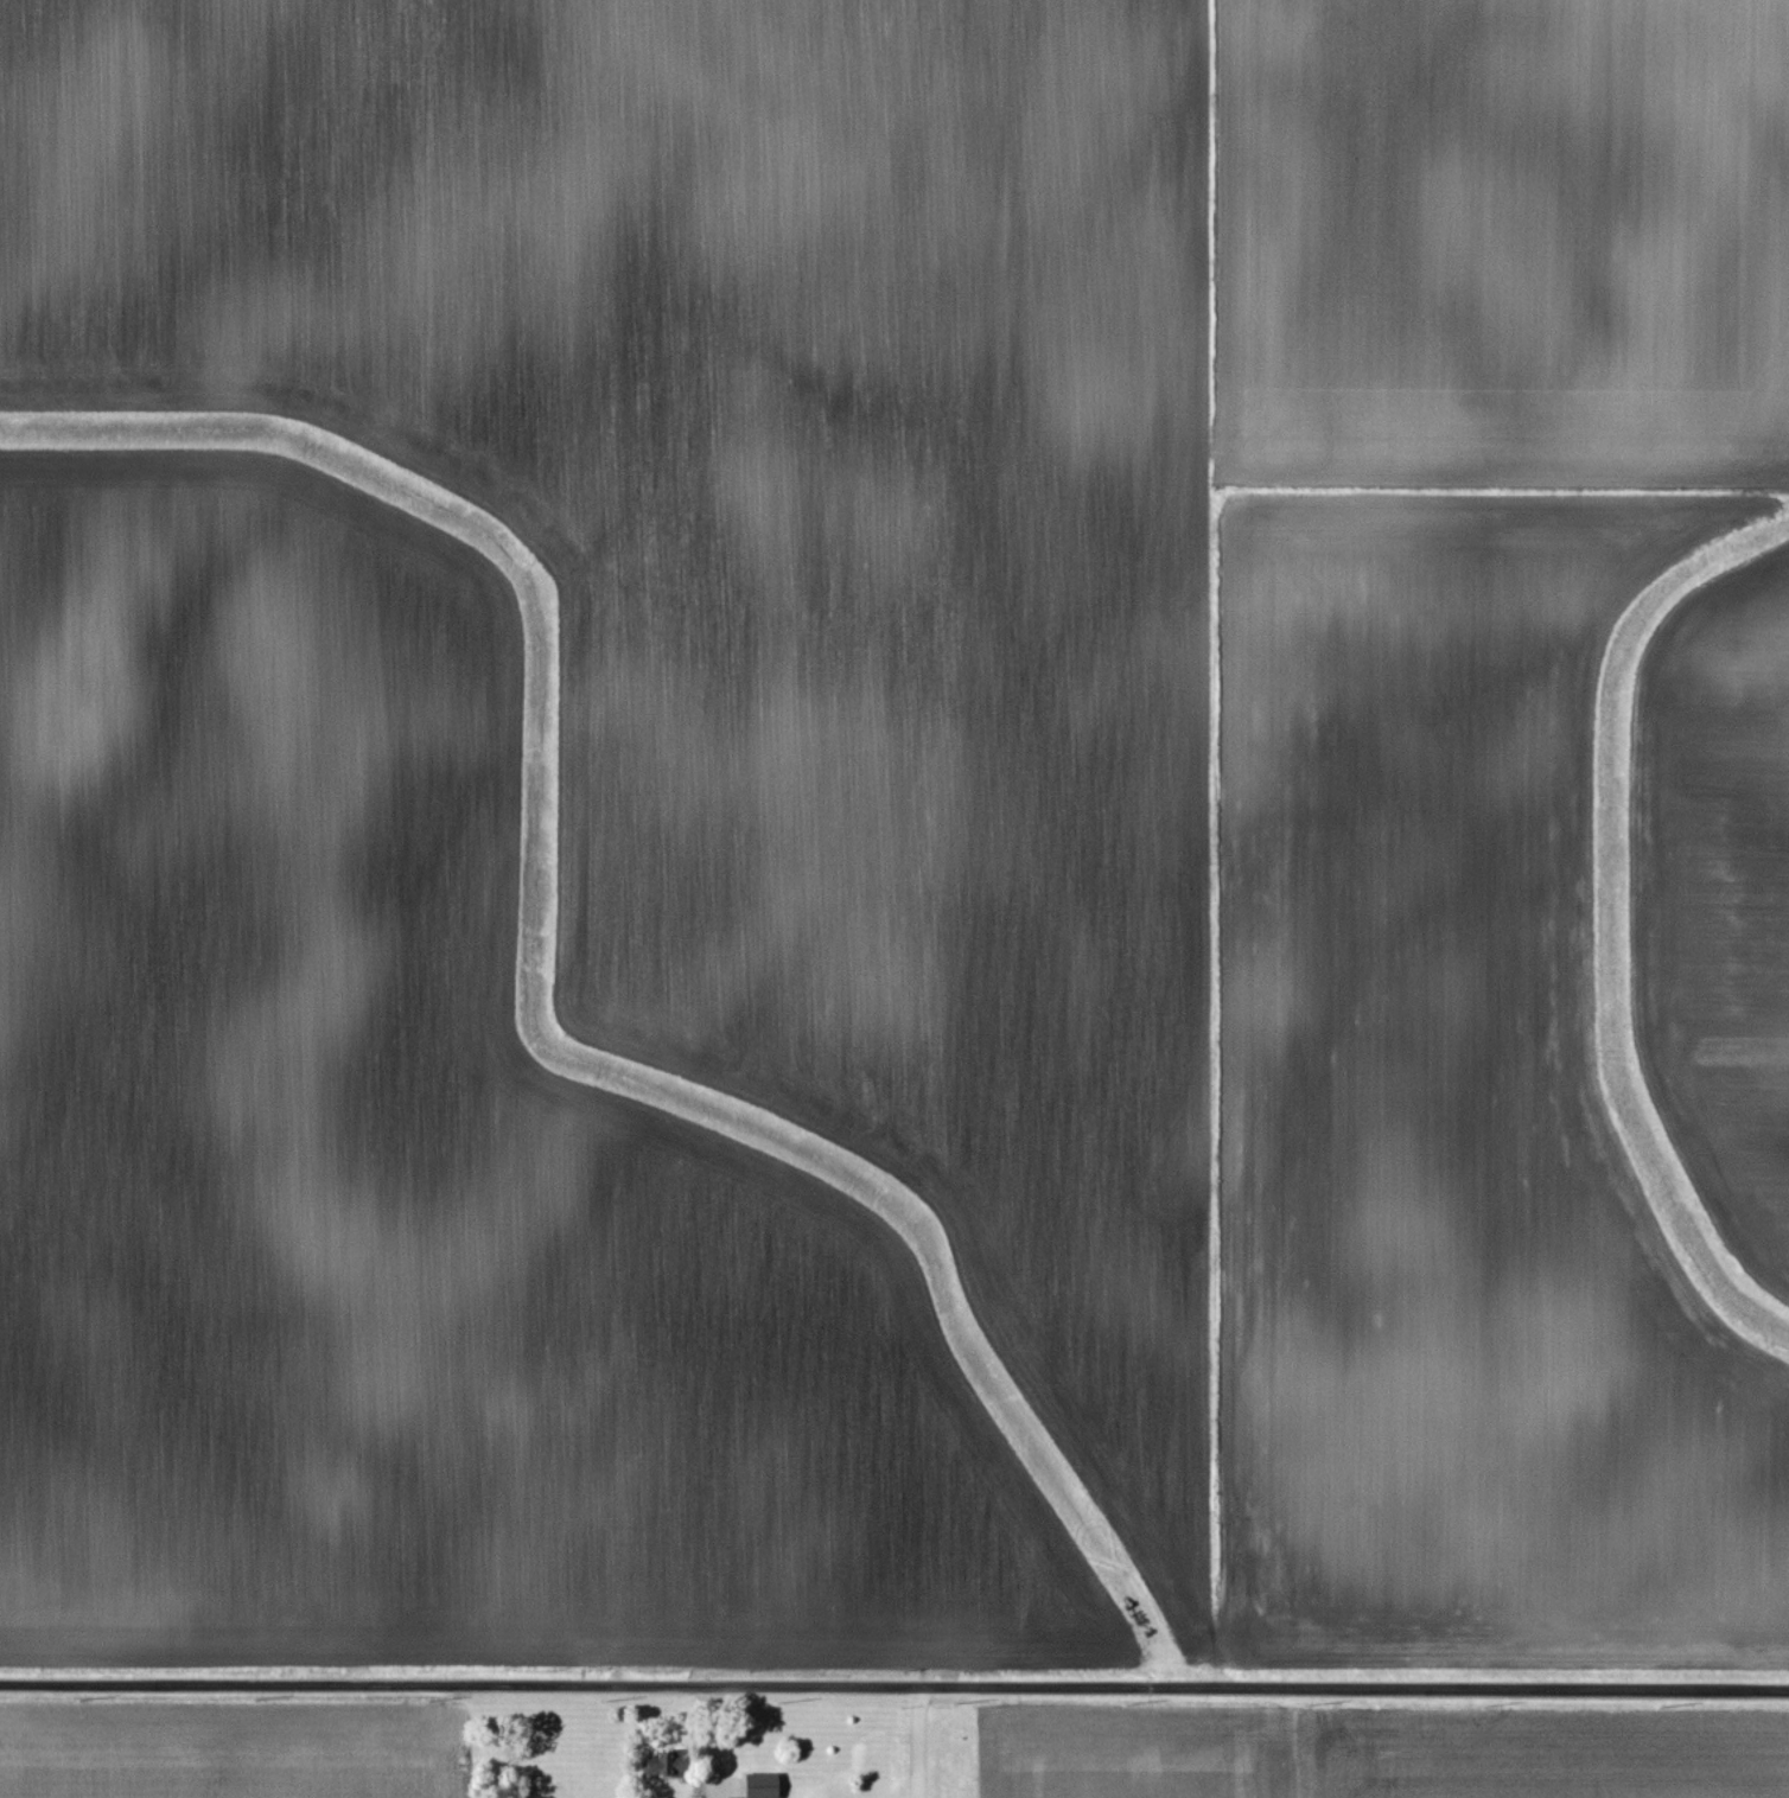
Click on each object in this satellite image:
road: (893, 1687)
road: (917, 1742)
road: (706, 1743)

